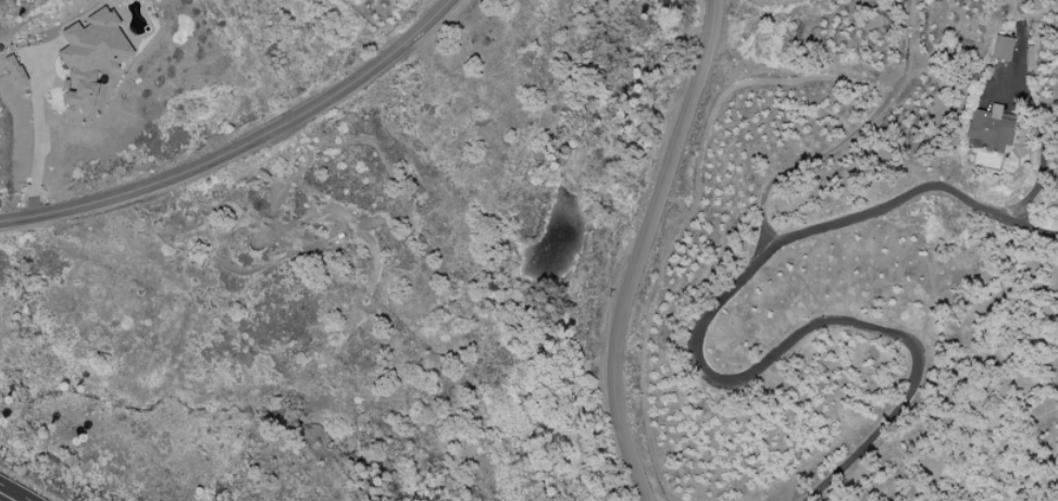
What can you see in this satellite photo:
building: (1000, 48)
building: (90, 57)
building: (14, 70)
building: (989, 128)
road: (38, 137)
road: (250, 148)
road: (1042, 155)
road: (638, 249)
road: (697, 363)
road: (15, 491)

